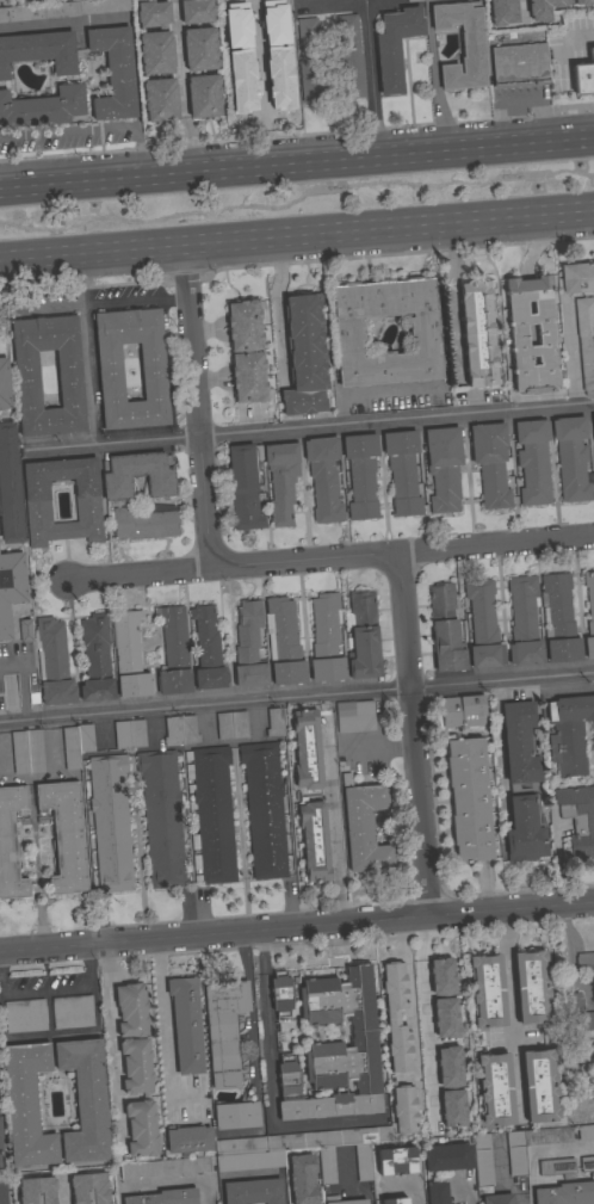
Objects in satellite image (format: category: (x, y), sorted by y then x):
building: (413, 0)
building: (582, 1)
road: (521, 2)
building: (543, 8)
building: (63, 10)
building: (196, 11)
building: (502, 12)
building: (151, 13)
building: (280, 27)
building: (231, 30)
building: (462, 44)
building: (395, 47)
building: (198, 49)
building: (39, 51)
building: (155, 53)
building: (592, 54)
building: (349, 55)
building: (309, 60)
building: (519, 66)
building: (113, 73)
building: (582, 79)
building: (284, 80)
road: (373, 84)
building: (237, 85)
road: (180, 93)
building: (203, 95)
building: (160, 99)
building: (43, 107)
road: (66, 131)
road: (136, 155)
road: (296, 169)
road: (296, 241)
building: (576, 277)
road: (451, 303)
road: (277, 313)
building: (425, 332)
building: (477, 334)
building: (545, 335)
building: (586, 341)
building: (246, 350)
building: (305, 356)
building: (153, 376)
building: (4, 384)
road: (377, 391)
road: (198, 409)
building: (593, 420)
road: (309, 427)
building: (571, 458)
building: (533, 461)
building: (491, 463)
building: (443, 468)
building: (402, 473)
building: (361, 475)
building: (116, 478)
building: (323, 478)
building: (281, 480)
building: (10, 486)
building: (245, 486)
building: (61, 500)
building: (142, 524)
road: (332, 558)
building: (10, 587)
building: (589, 613)
building: (558, 619)
building: (524, 622)
building: (483, 625)
building: (445, 629)
building: (25, 630)
building: (361, 636)
building: (326, 638)
building: (283, 642)
building: (248, 646)
building: (206, 648)
building: (174, 653)
building: (129, 656)
building: (95, 659)
building: (52, 662)
road: (20, 680)
road: (297, 697)
building: (460, 711)
building: (354, 716)
building: (274, 722)
building: (231, 726)
building: (180, 731)
road: (253, 731)
building: (569, 733)
building: (129, 734)
road: (414, 734)
road: (208, 735)
building: (519, 742)
building: (75, 745)
building: (307, 749)
building: (30, 753)
building: (469, 799)
building: (264, 809)
building: (210, 814)
building: (161, 817)
road: (333, 819)
building: (577, 820)
building: (110, 822)
building: (363, 826)
building: (525, 829)
building: (66, 836)
road: (240, 839)
building: (314, 840)
building: (12, 845)
road: (555, 862)
road: (296, 926)
road: (416, 937)
road: (259, 951)
road: (241, 952)
building: (586, 964)
building: (441, 976)
road: (66, 987)
building: (531, 987)
building: (487, 992)
building: (280, 994)
building: (131, 1009)
road: (512, 1009)
building: (72, 1012)
building: (25, 1015)
building: (396, 1017)
road: (162, 1018)
building: (445, 1018)
building: (574, 1018)
building: (185, 1025)
road: (427, 1029)
building: (223, 1031)
road: (49, 1032)
road: (110, 1044)
building: (335, 1050)
building: (582, 1056)
building: (448, 1066)
building: (539, 1086)
building: (495, 1089)
building: (146, 1098)
building: (85, 1100)
road: (270, 1103)
building: (25, 1105)
building: (452, 1107)
building: (403, 1110)
building: (236, 1112)
building: (0, 1130)
building: (187, 1140)
building: (538, 1143)
road: (534, 1149)
building: (249, 1157)
building: (447, 1157)
building: (396, 1161)
building: (483, 1163)
building: (587, 1163)
building: (165, 1167)
building: (557, 1167)
road: (252, 1175)
building: (299, 1180)
road: (177, 1183)
building: (253, 1191)
building: (2, 1193)
building: (437, 1193)
road: (62, 1194)
building: (565, 1194)
road: (8, 1197)
building: (165, 1197)
building: (41, 1198)
building: (497, 1198)
road: (414, 1199)
building: (82, 1200)
building: (359, 1200)
building: (394, 1200)
road: (471, 1200)

